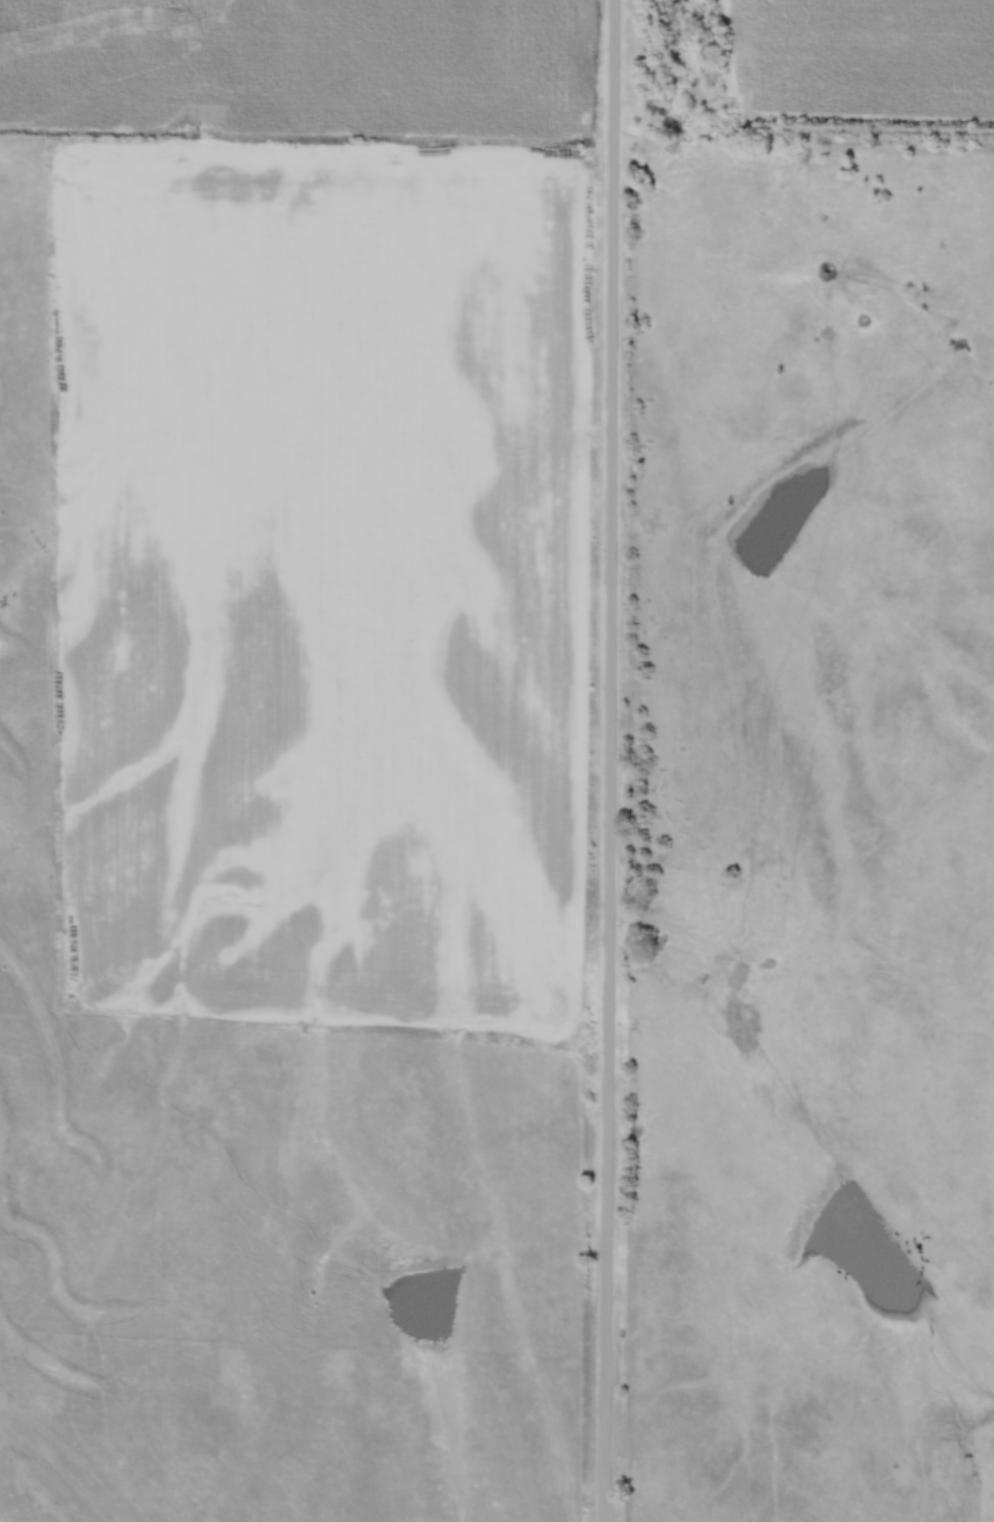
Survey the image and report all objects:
road: (612, 761)

